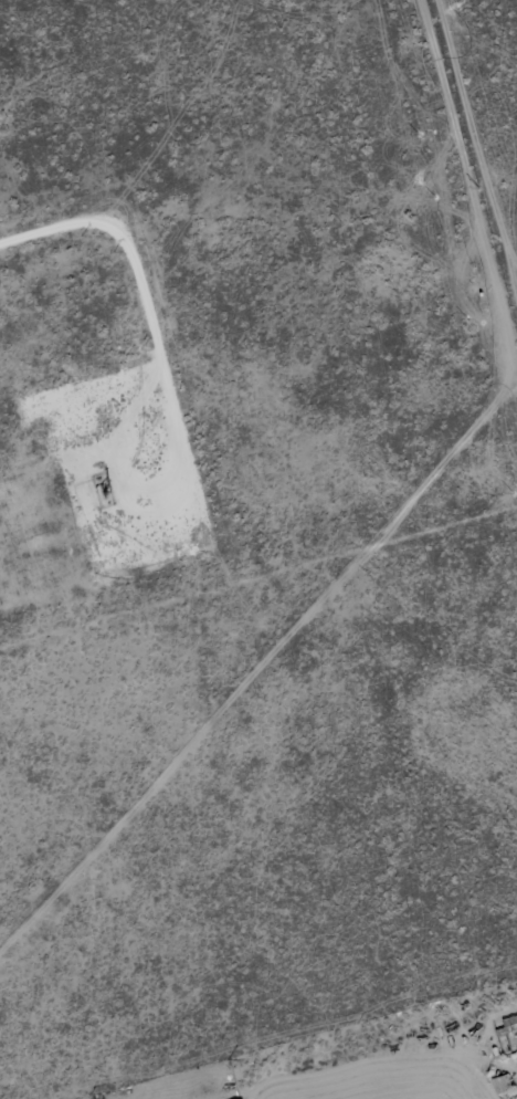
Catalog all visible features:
building: (505, 1026)
building: (503, 1085)

